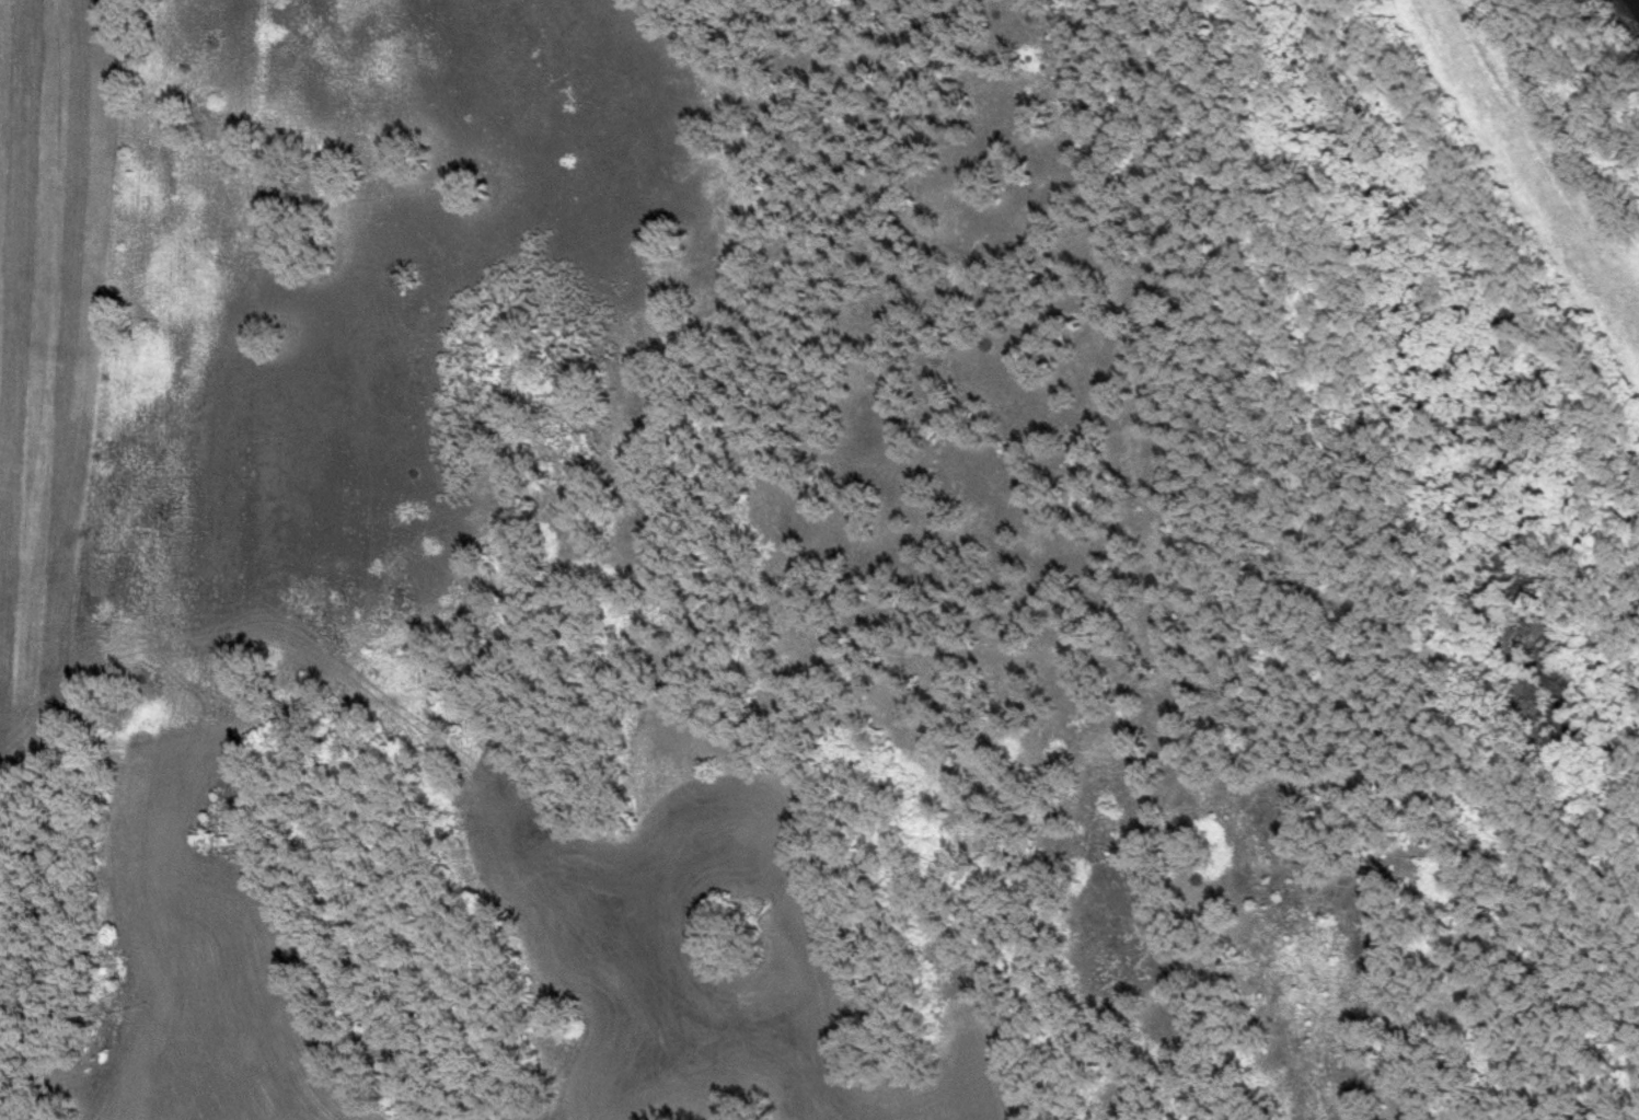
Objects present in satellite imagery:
road: (819, 789)

